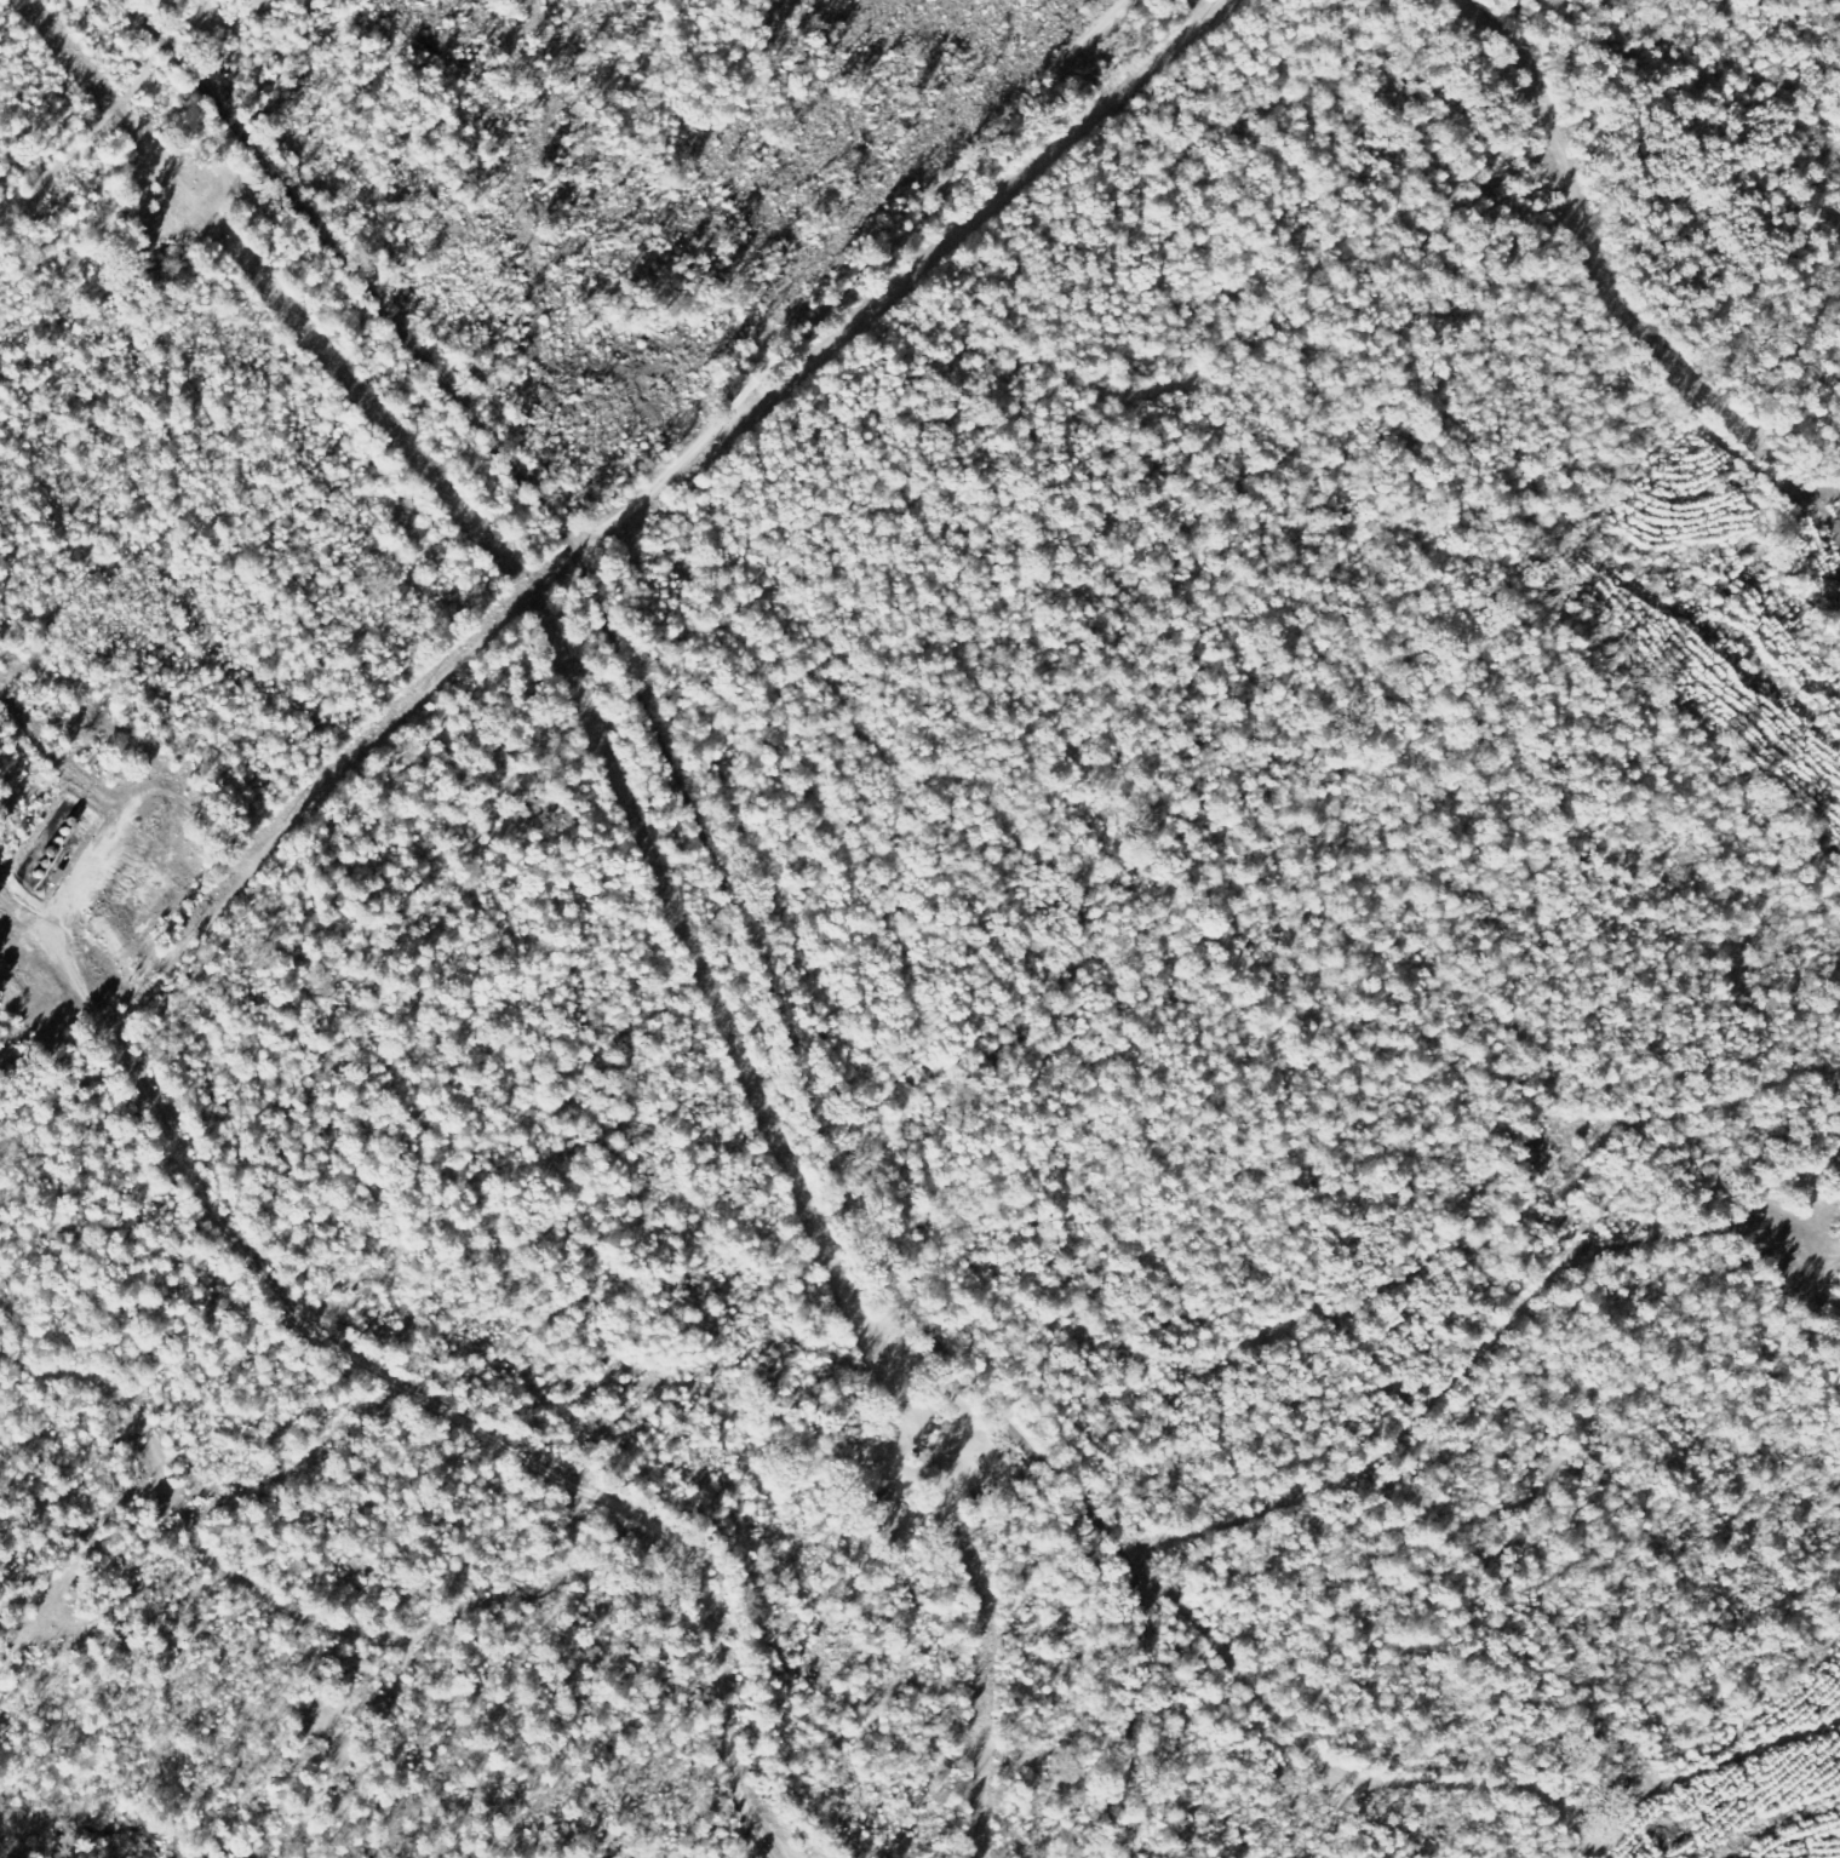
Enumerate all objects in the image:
road: (855, 277)
road: (730, 890)
road: (395, 1380)

